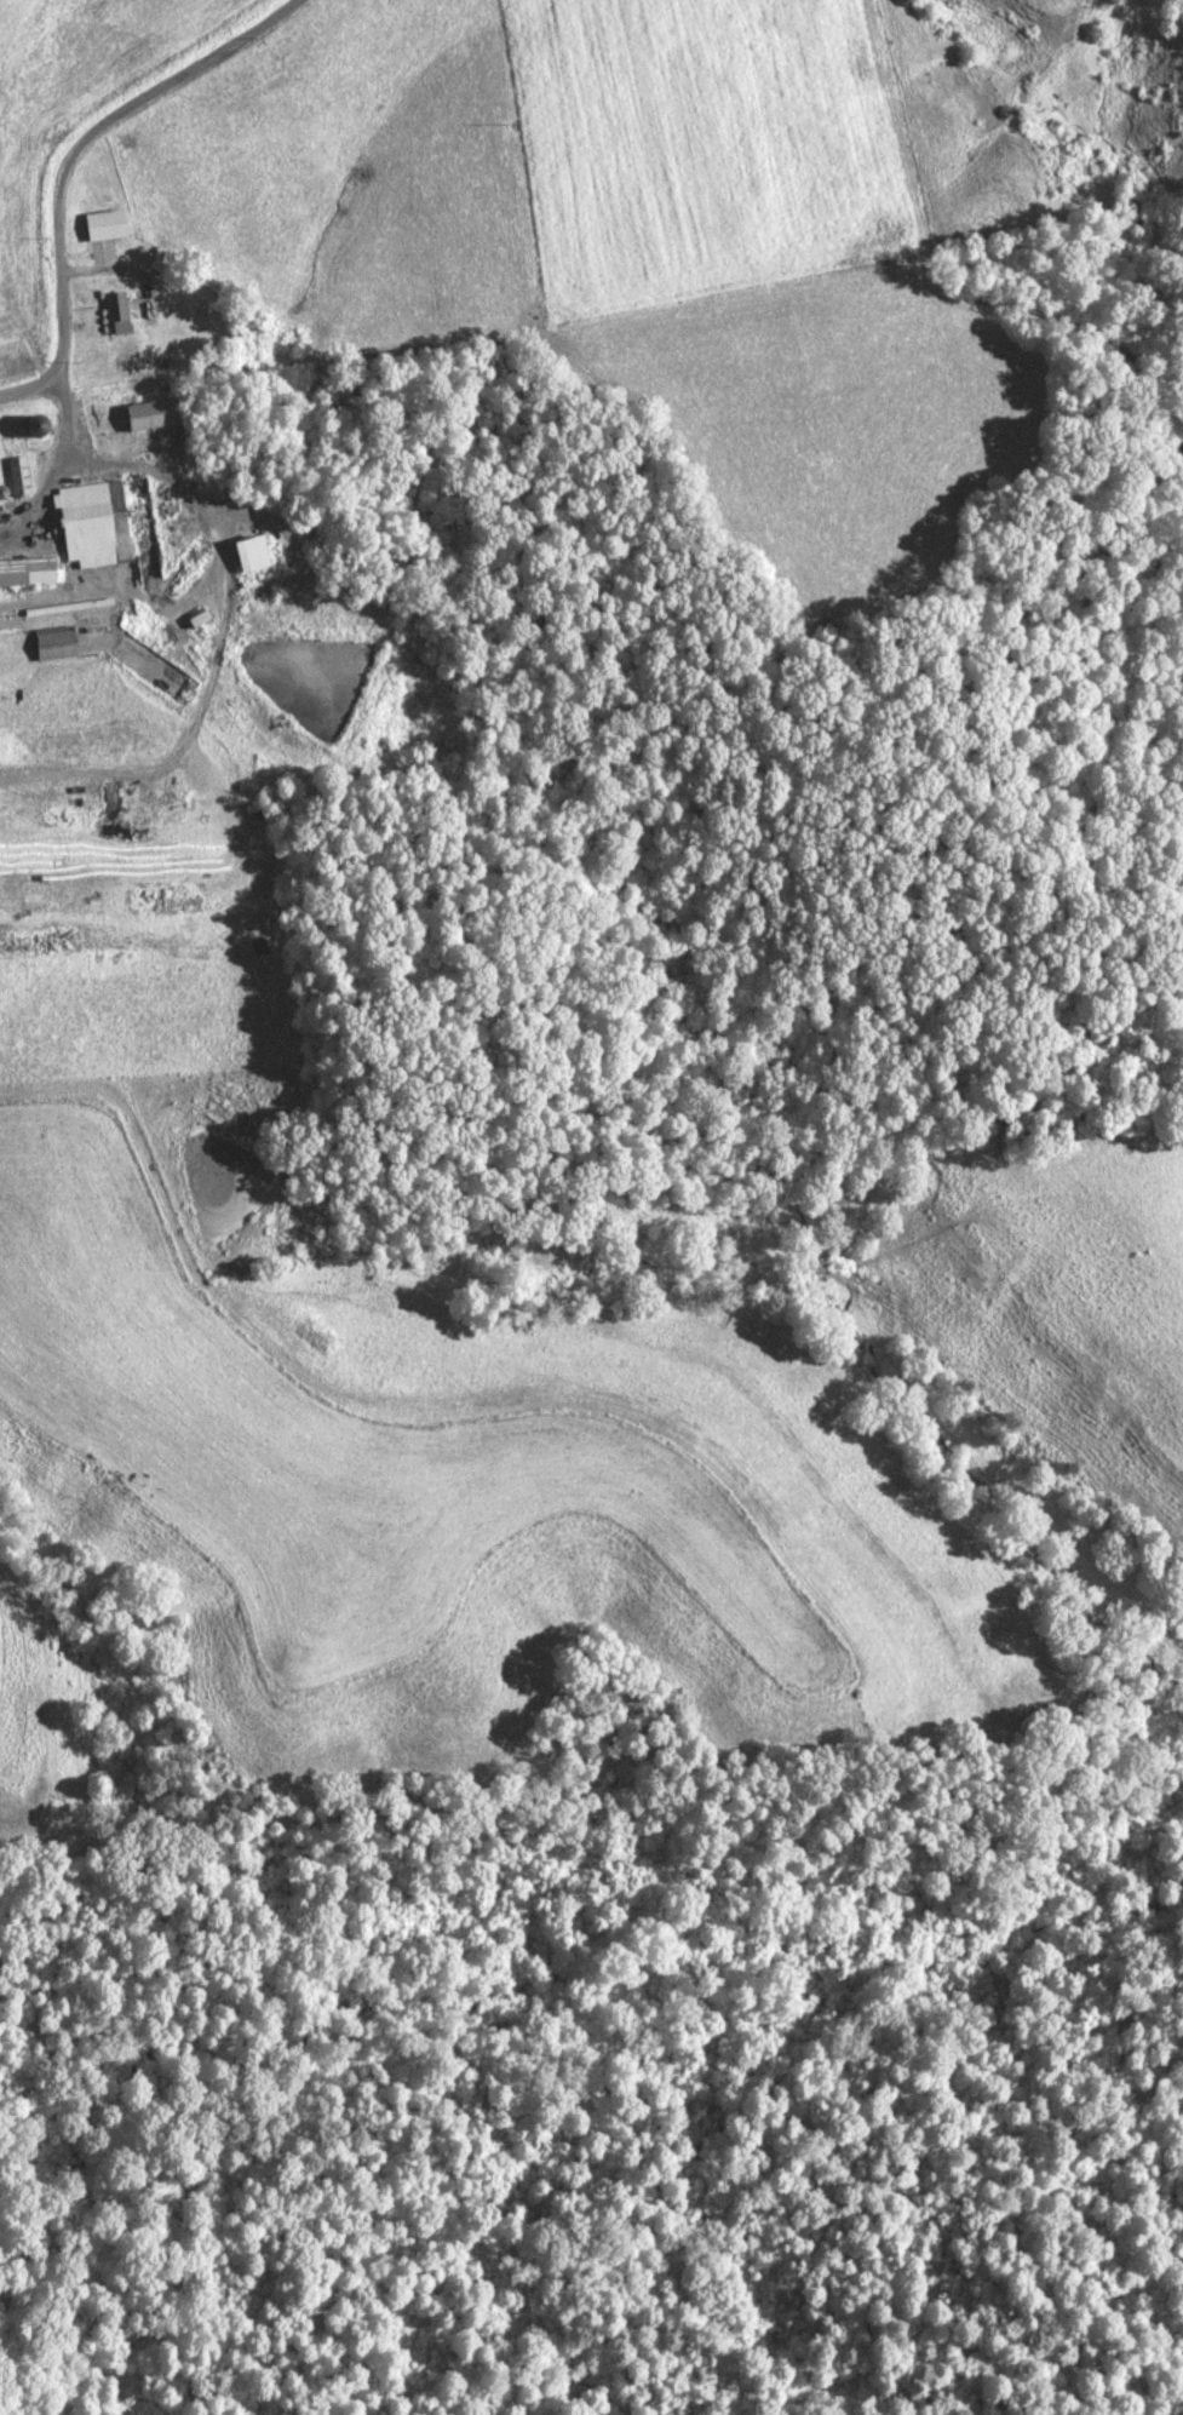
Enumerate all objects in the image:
road: (68, 157)
building: (103, 225)
building: (114, 312)
building: (153, 414)
building: (91, 524)
building: (248, 555)
building: (25, 572)
building: (53, 644)

